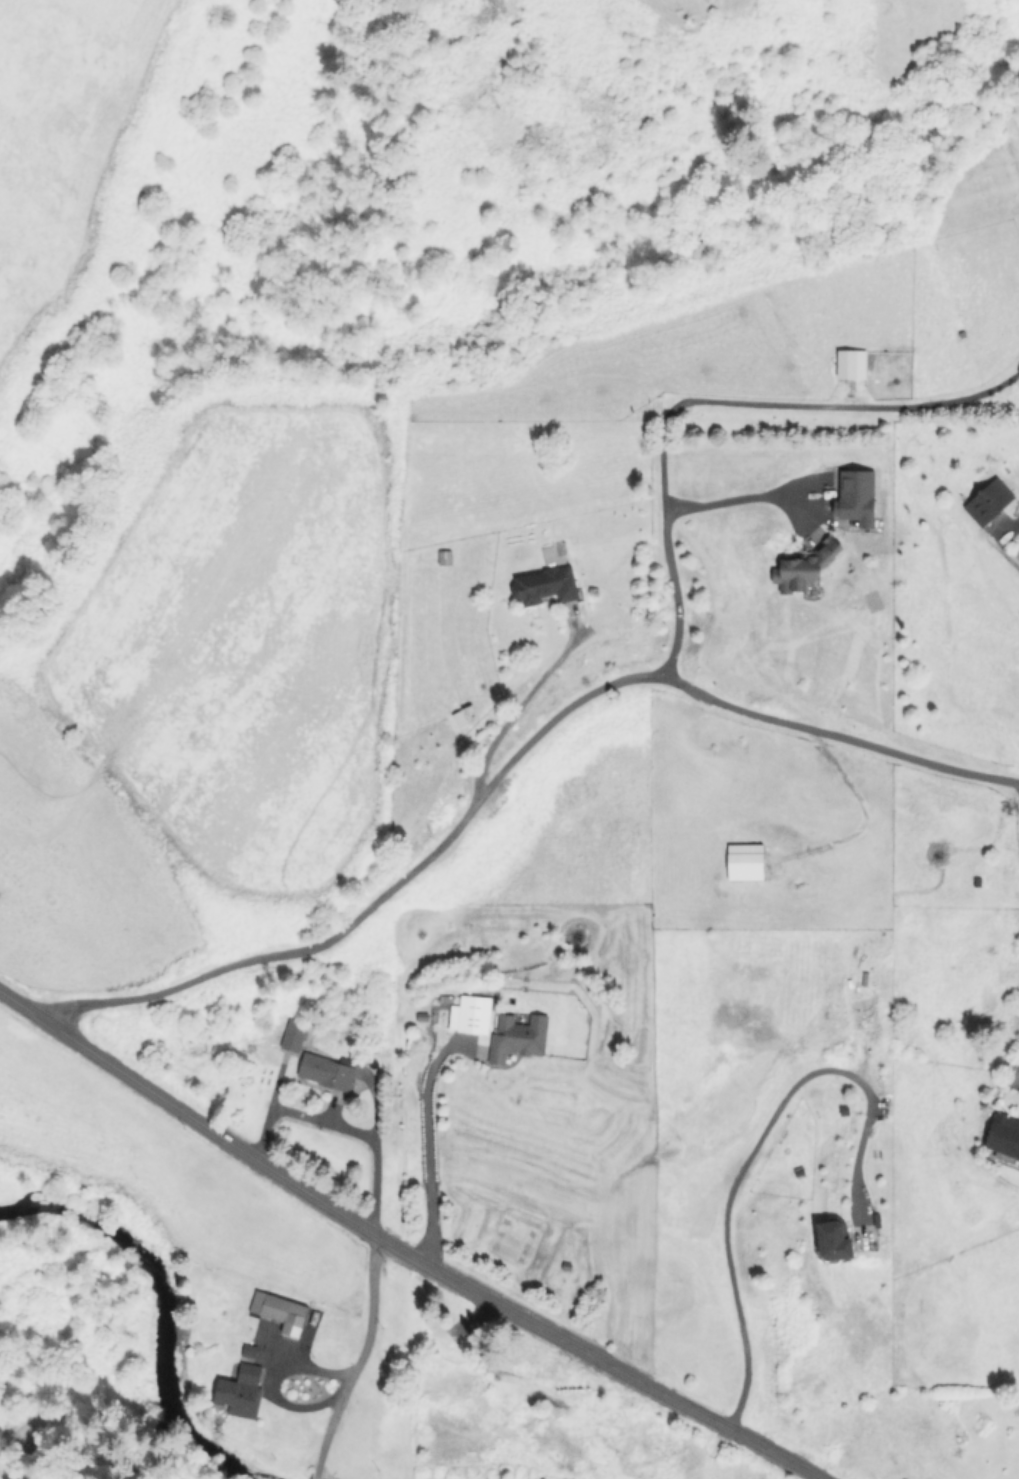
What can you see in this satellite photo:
building: (849, 363)
road: (709, 399)
building: (854, 497)
road: (745, 498)
building: (987, 501)
building: (803, 566)
building: (543, 585)
road: (523, 705)
road: (509, 763)
building: (744, 861)
building: (469, 1014)
building: (291, 1034)
building: (516, 1037)
building: (324, 1071)
road: (341, 1127)
building: (1003, 1135)
road: (428, 1144)
road: (752, 1149)
building: (832, 1241)
road: (401, 1251)
building: (278, 1311)
building: (247, 1350)
road: (359, 1358)
building: (239, 1391)
road: (316, 1476)

